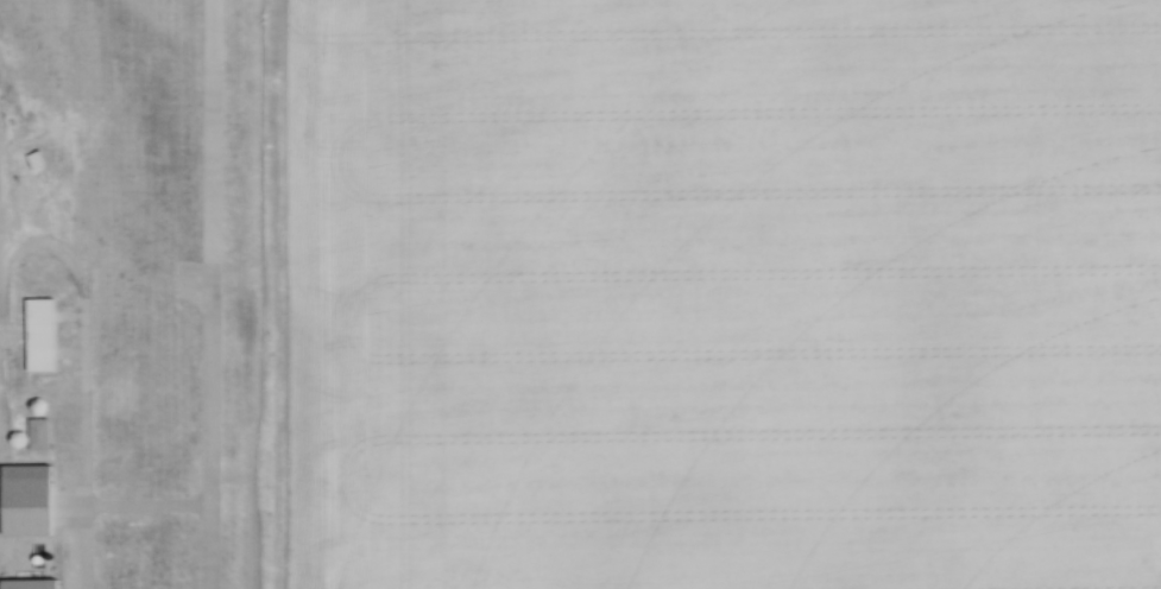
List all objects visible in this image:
building: (31, 91)
building: (34, 160)
airport runway: (216, 294)
airport taxiway: (71, 318)
airport hangar: (45, 330)
building: (45, 330)
airport taxiway: (83, 344)
airport taxiway: (71, 354)
building: (38, 433)
airport hangar: (32, 496)
building: (32, 496)
airport taxiway: (149, 500)
airport hangar: (34, 582)
building: (34, 582)

